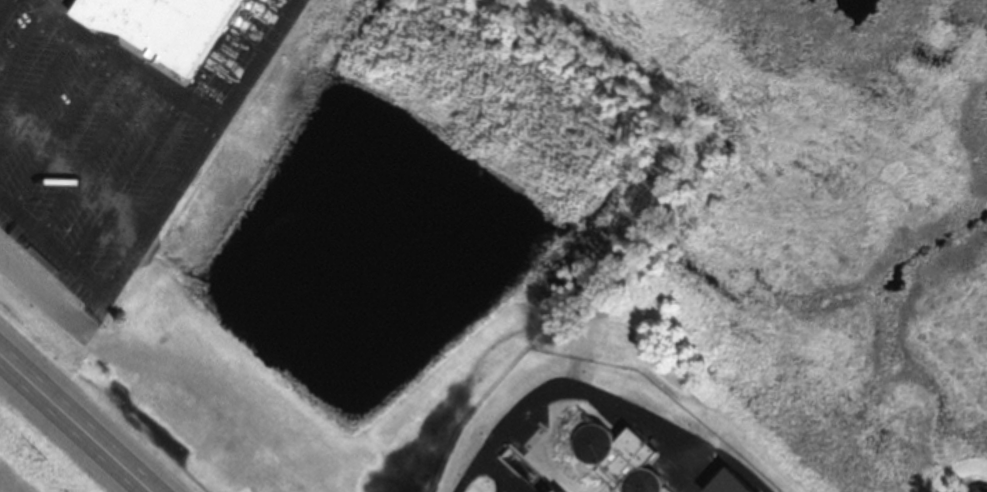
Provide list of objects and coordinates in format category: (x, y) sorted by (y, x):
building: (161, 32)
road: (129, 60)
road: (183, 166)
road: (52, 240)
road: (42, 300)
road: (70, 427)
park: (40, 454)
building: (616, 462)
building: (725, 486)

